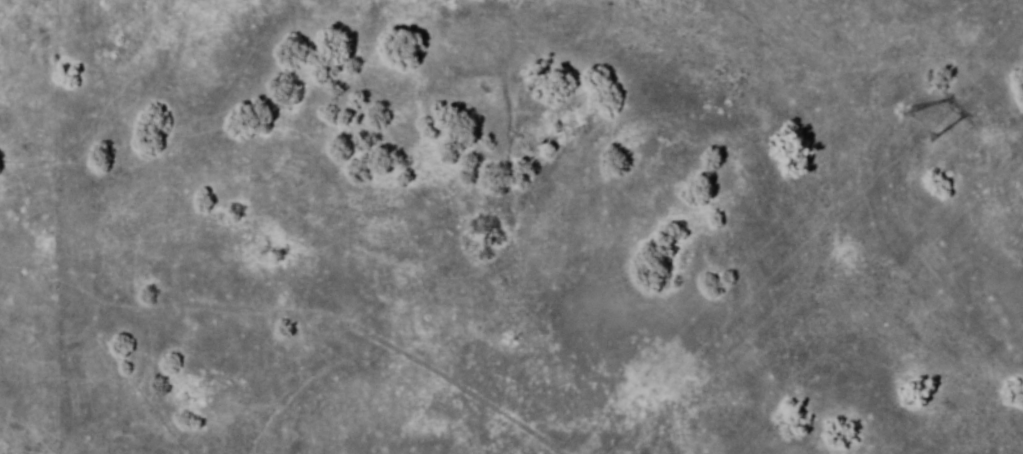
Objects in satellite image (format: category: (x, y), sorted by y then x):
power tower: (912, 132)

